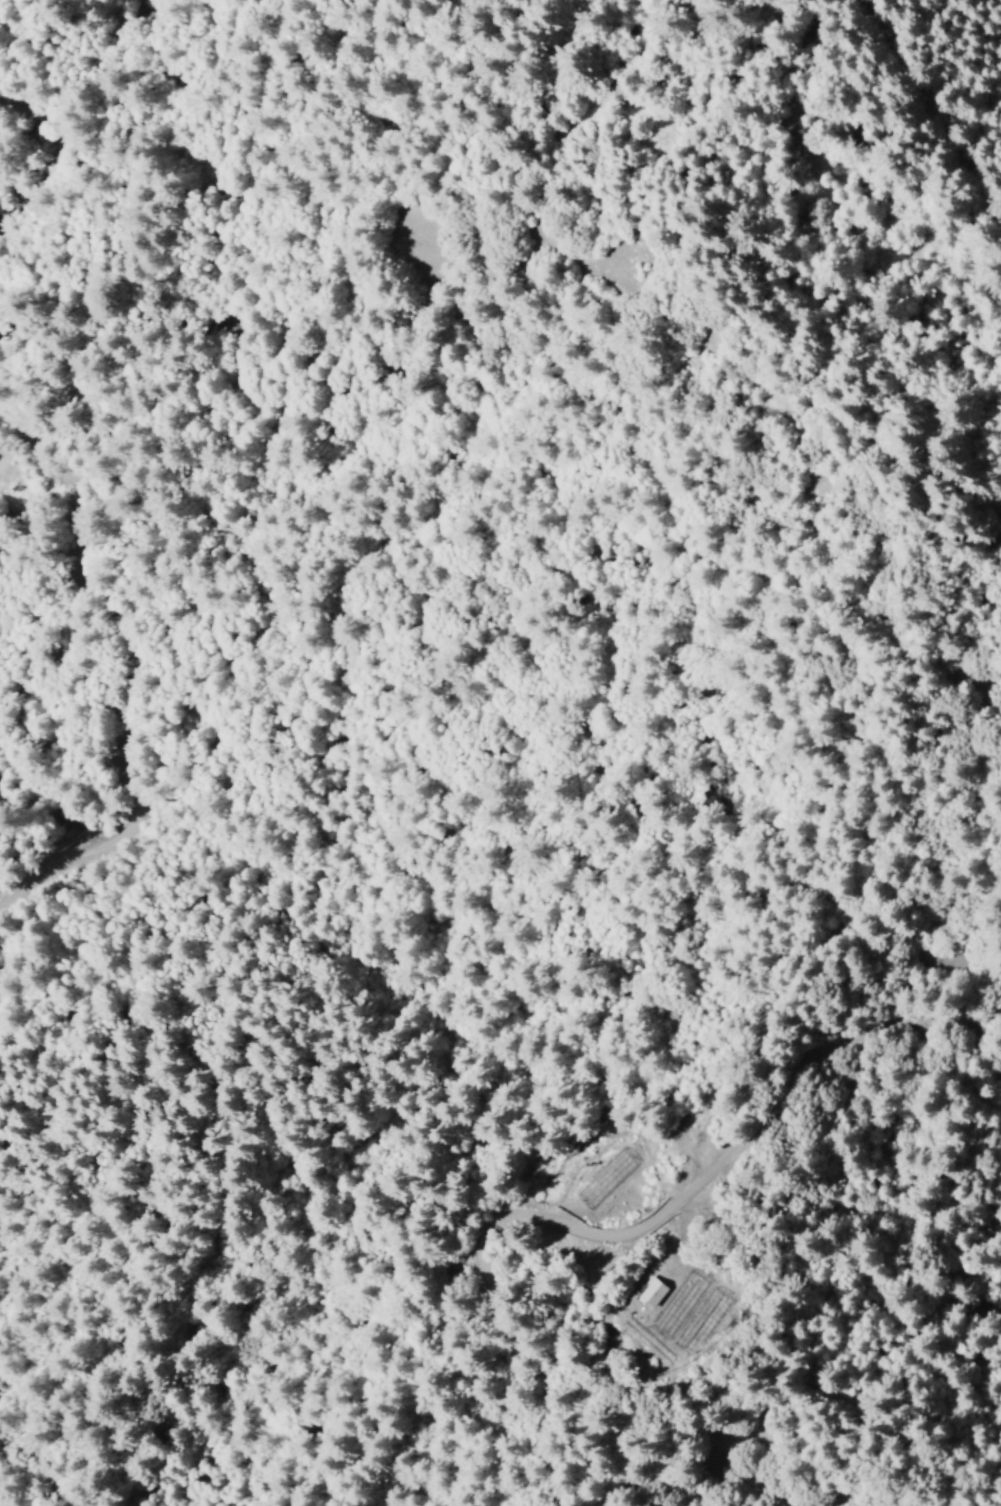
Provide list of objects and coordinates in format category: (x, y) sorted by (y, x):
building: (652, 1294)

